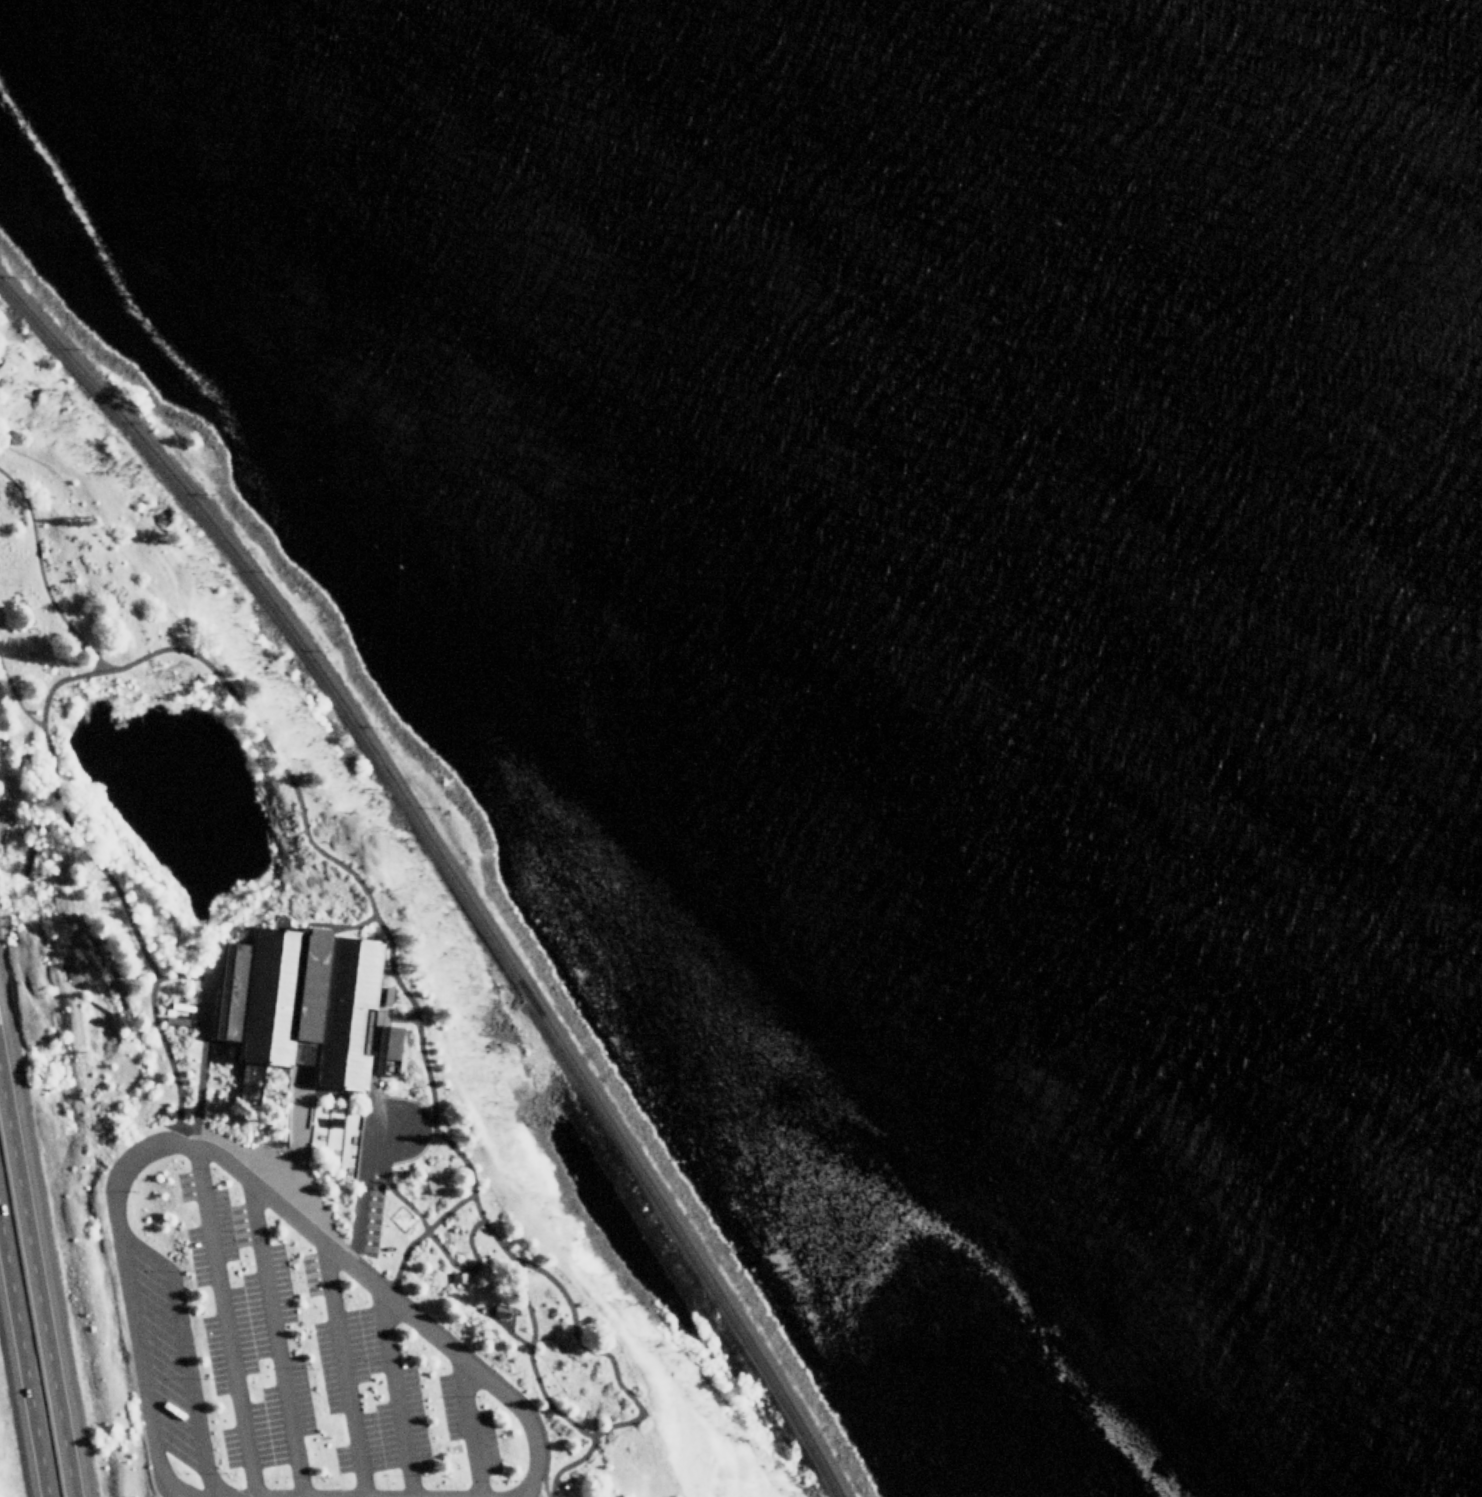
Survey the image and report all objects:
river: (1207, 366)
road: (41, 575)
road: (15, 699)
road: (238, 703)
railway: (451, 867)
road: (355, 925)
road: (191, 976)
building: (305, 1002)
road: (392, 1016)
road: (410, 1130)
road: (297, 1140)
road: (230, 1165)
road: (361, 1194)
road: (430, 1233)
building: (459, 1277)
road: (33, 1290)
building: (500, 1310)
road: (224, 1322)
road: (545, 1337)
road: (275, 1339)
parking lot: (294, 1339)
road: (596, 1352)
road: (184, 1357)
road: (530, 1358)
road: (21, 1367)
road: (344, 1370)
road: (396, 1394)
road: (470, 1427)
road: (542, 1482)

